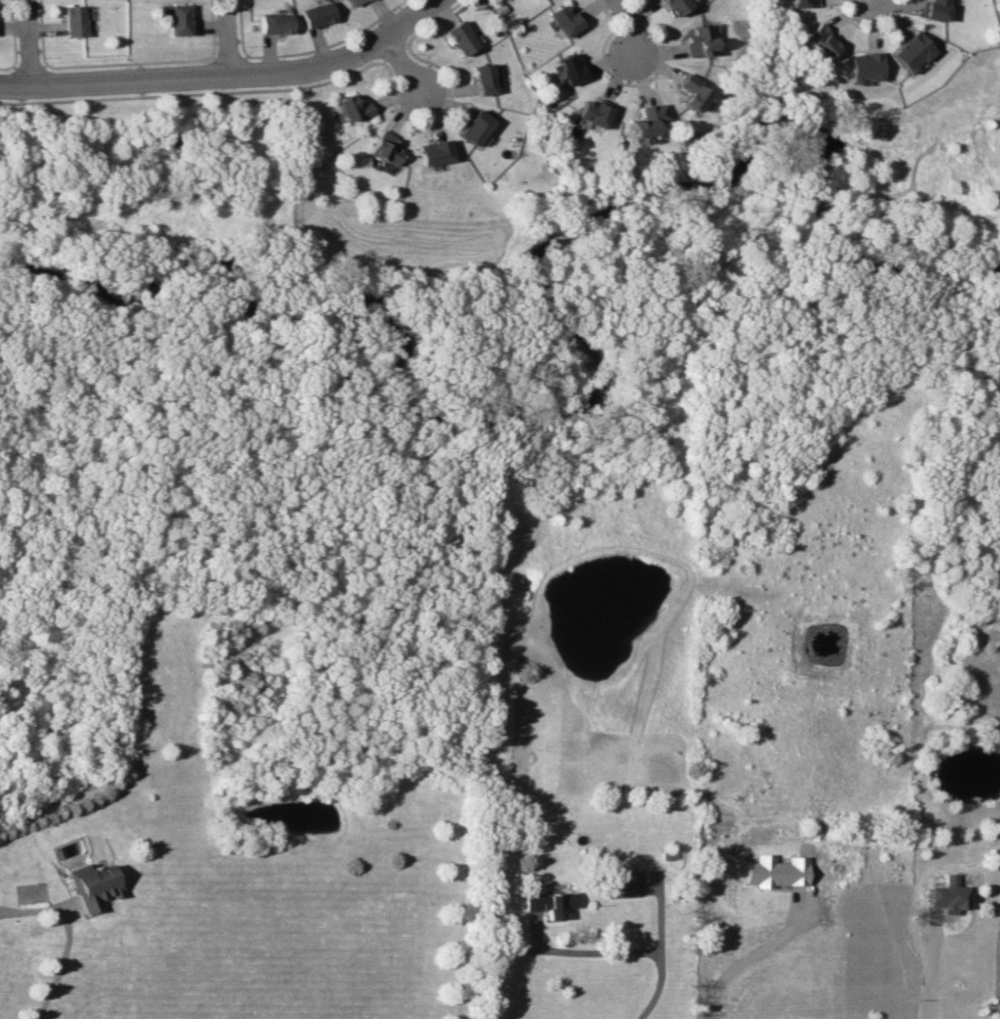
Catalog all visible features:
road: (867, 0)
building: (351, 2)
building: (799, 3)
building: (671, 6)
building: (932, 9)
building: (313, 14)
building: (177, 19)
building: (563, 19)
road: (887, 19)
road: (429, 20)
road: (845, 20)
building: (73, 21)
building: (271, 23)
road: (629, 25)
road: (209, 27)
road: (237, 27)
road: (40, 31)
road: (13, 32)
building: (457, 37)
road: (226, 38)
building: (695, 41)
building: (815, 41)
road: (327, 43)
road: (25, 45)
road: (389, 50)
building: (910, 51)
road: (226, 58)
road: (126, 62)
road: (400, 65)
building: (860, 66)
road: (6, 67)
road: (27, 67)
building: (568, 68)
road: (227, 76)
building: (481, 79)
road: (629, 84)
road: (191, 92)
building: (686, 92)
building: (349, 108)
building: (590, 113)
road: (433, 115)
building: (645, 120)
building: (471, 127)
building: (383, 147)
building: (430, 152)
park: (530, 206)
river: (538, 298)
building: (775, 871)
building: (618, 883)
building: (93, 887)
building: (946, 895)
building: (550, 902)
road: (648, 941)
road: (743, 959)
road: (57, 964)
road: (998, 970)
road: (928, 978)

